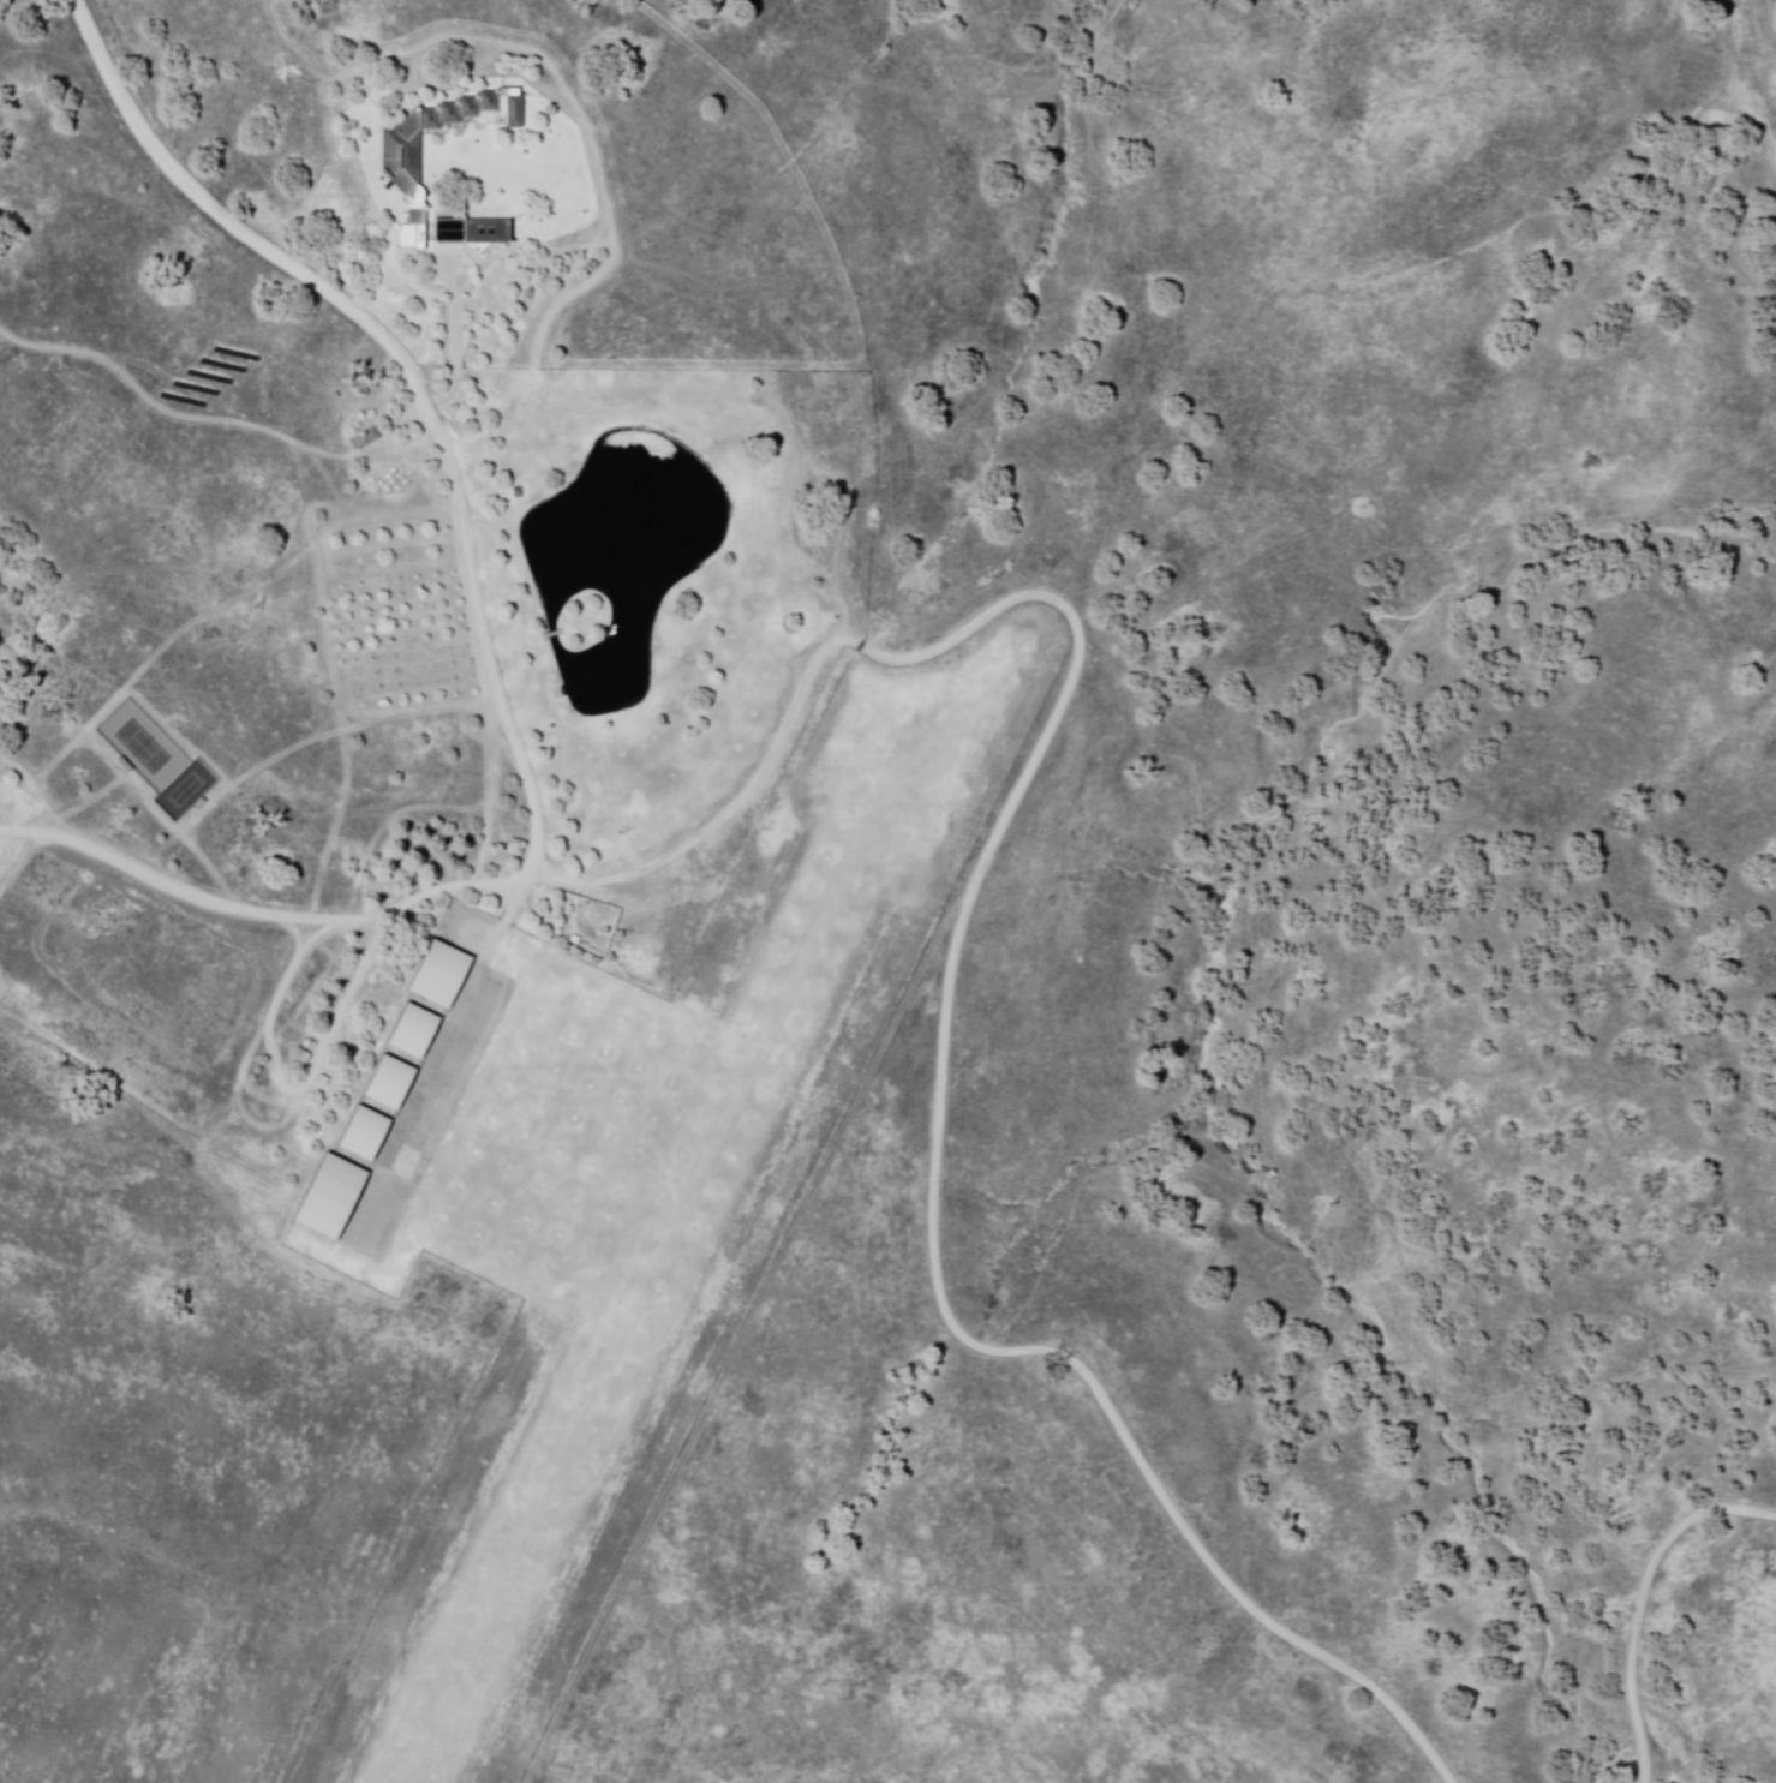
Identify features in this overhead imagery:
building: (397, 154)
building: (470, 232)
road: (848, 299)
building: (591, 602)
road: (479, 644)
airport runway: (951, 677)
park: (157, 761)
road: (956, 968)
airport hangar: (439, 976)
building: (439, 976)
airport hangar: (413, 1034)
building: (413, 1034)
airport hangar: (388, 1084)
building: (388, 1084)
airport apron: (402, 1105)
airport hangar: (363, 1135)
building: (363, 1135)
airport apron: (542, 1136)
airport: (628, 1187)
airport hangar: (328, 1199)
building: (328, 1199)
road: (1643, 1602)

